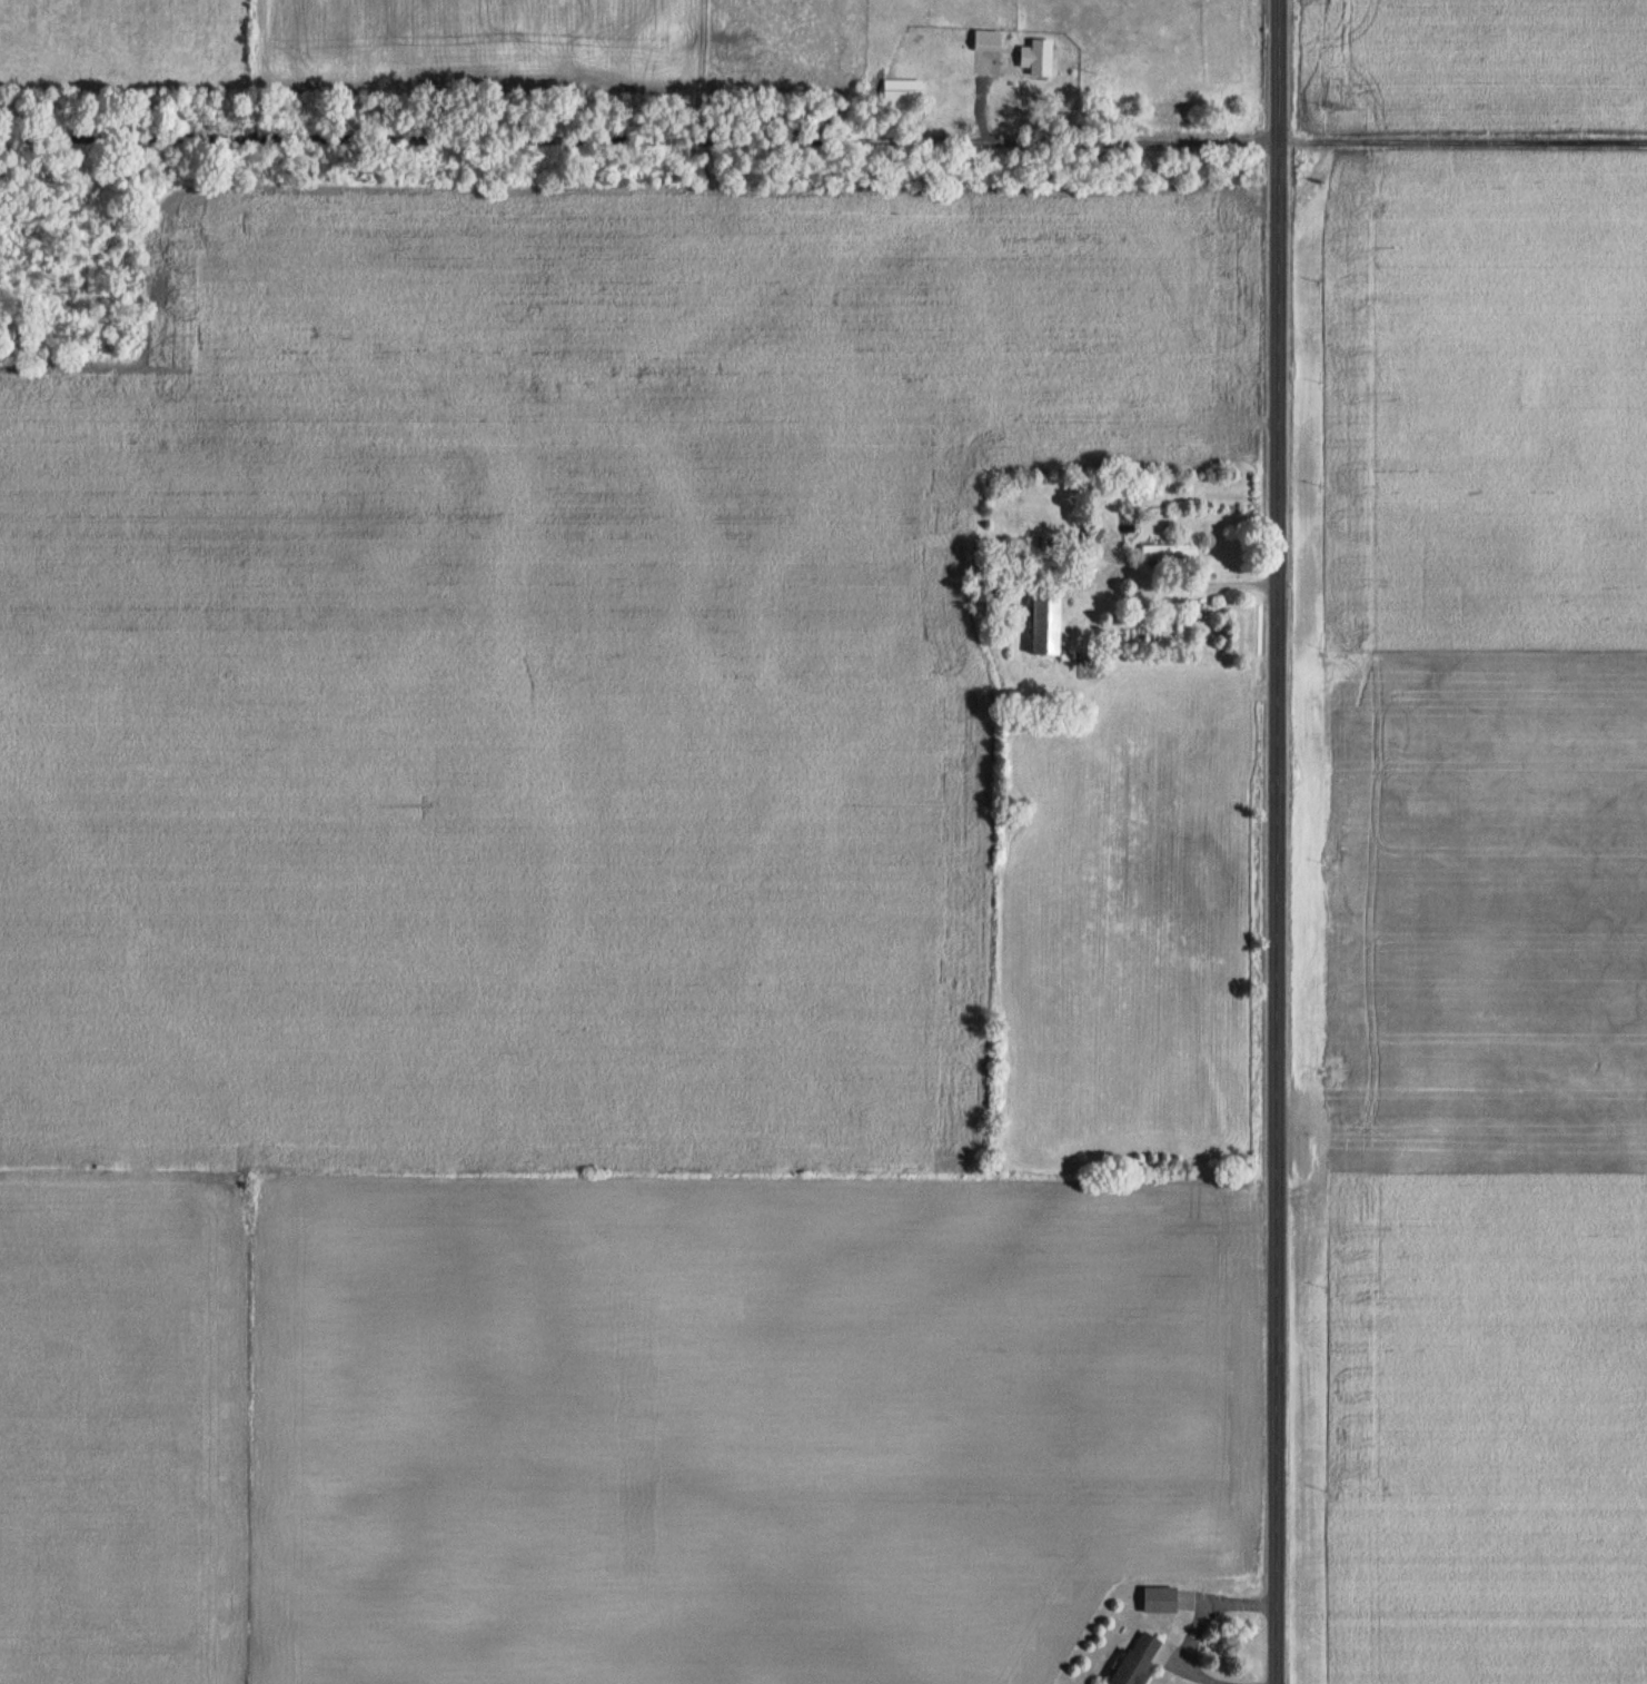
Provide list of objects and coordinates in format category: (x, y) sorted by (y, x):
building: (986, 51)
building: (1039, 57)
building: (903, 92)
building: (1092, 536)
building: (1170, 549)
road: (1154, 588)
building: (1049, 623)
road: (1276, 841)
building: (1160, 1598)
road: (1195, 1619)
building: (1140, 1660)

